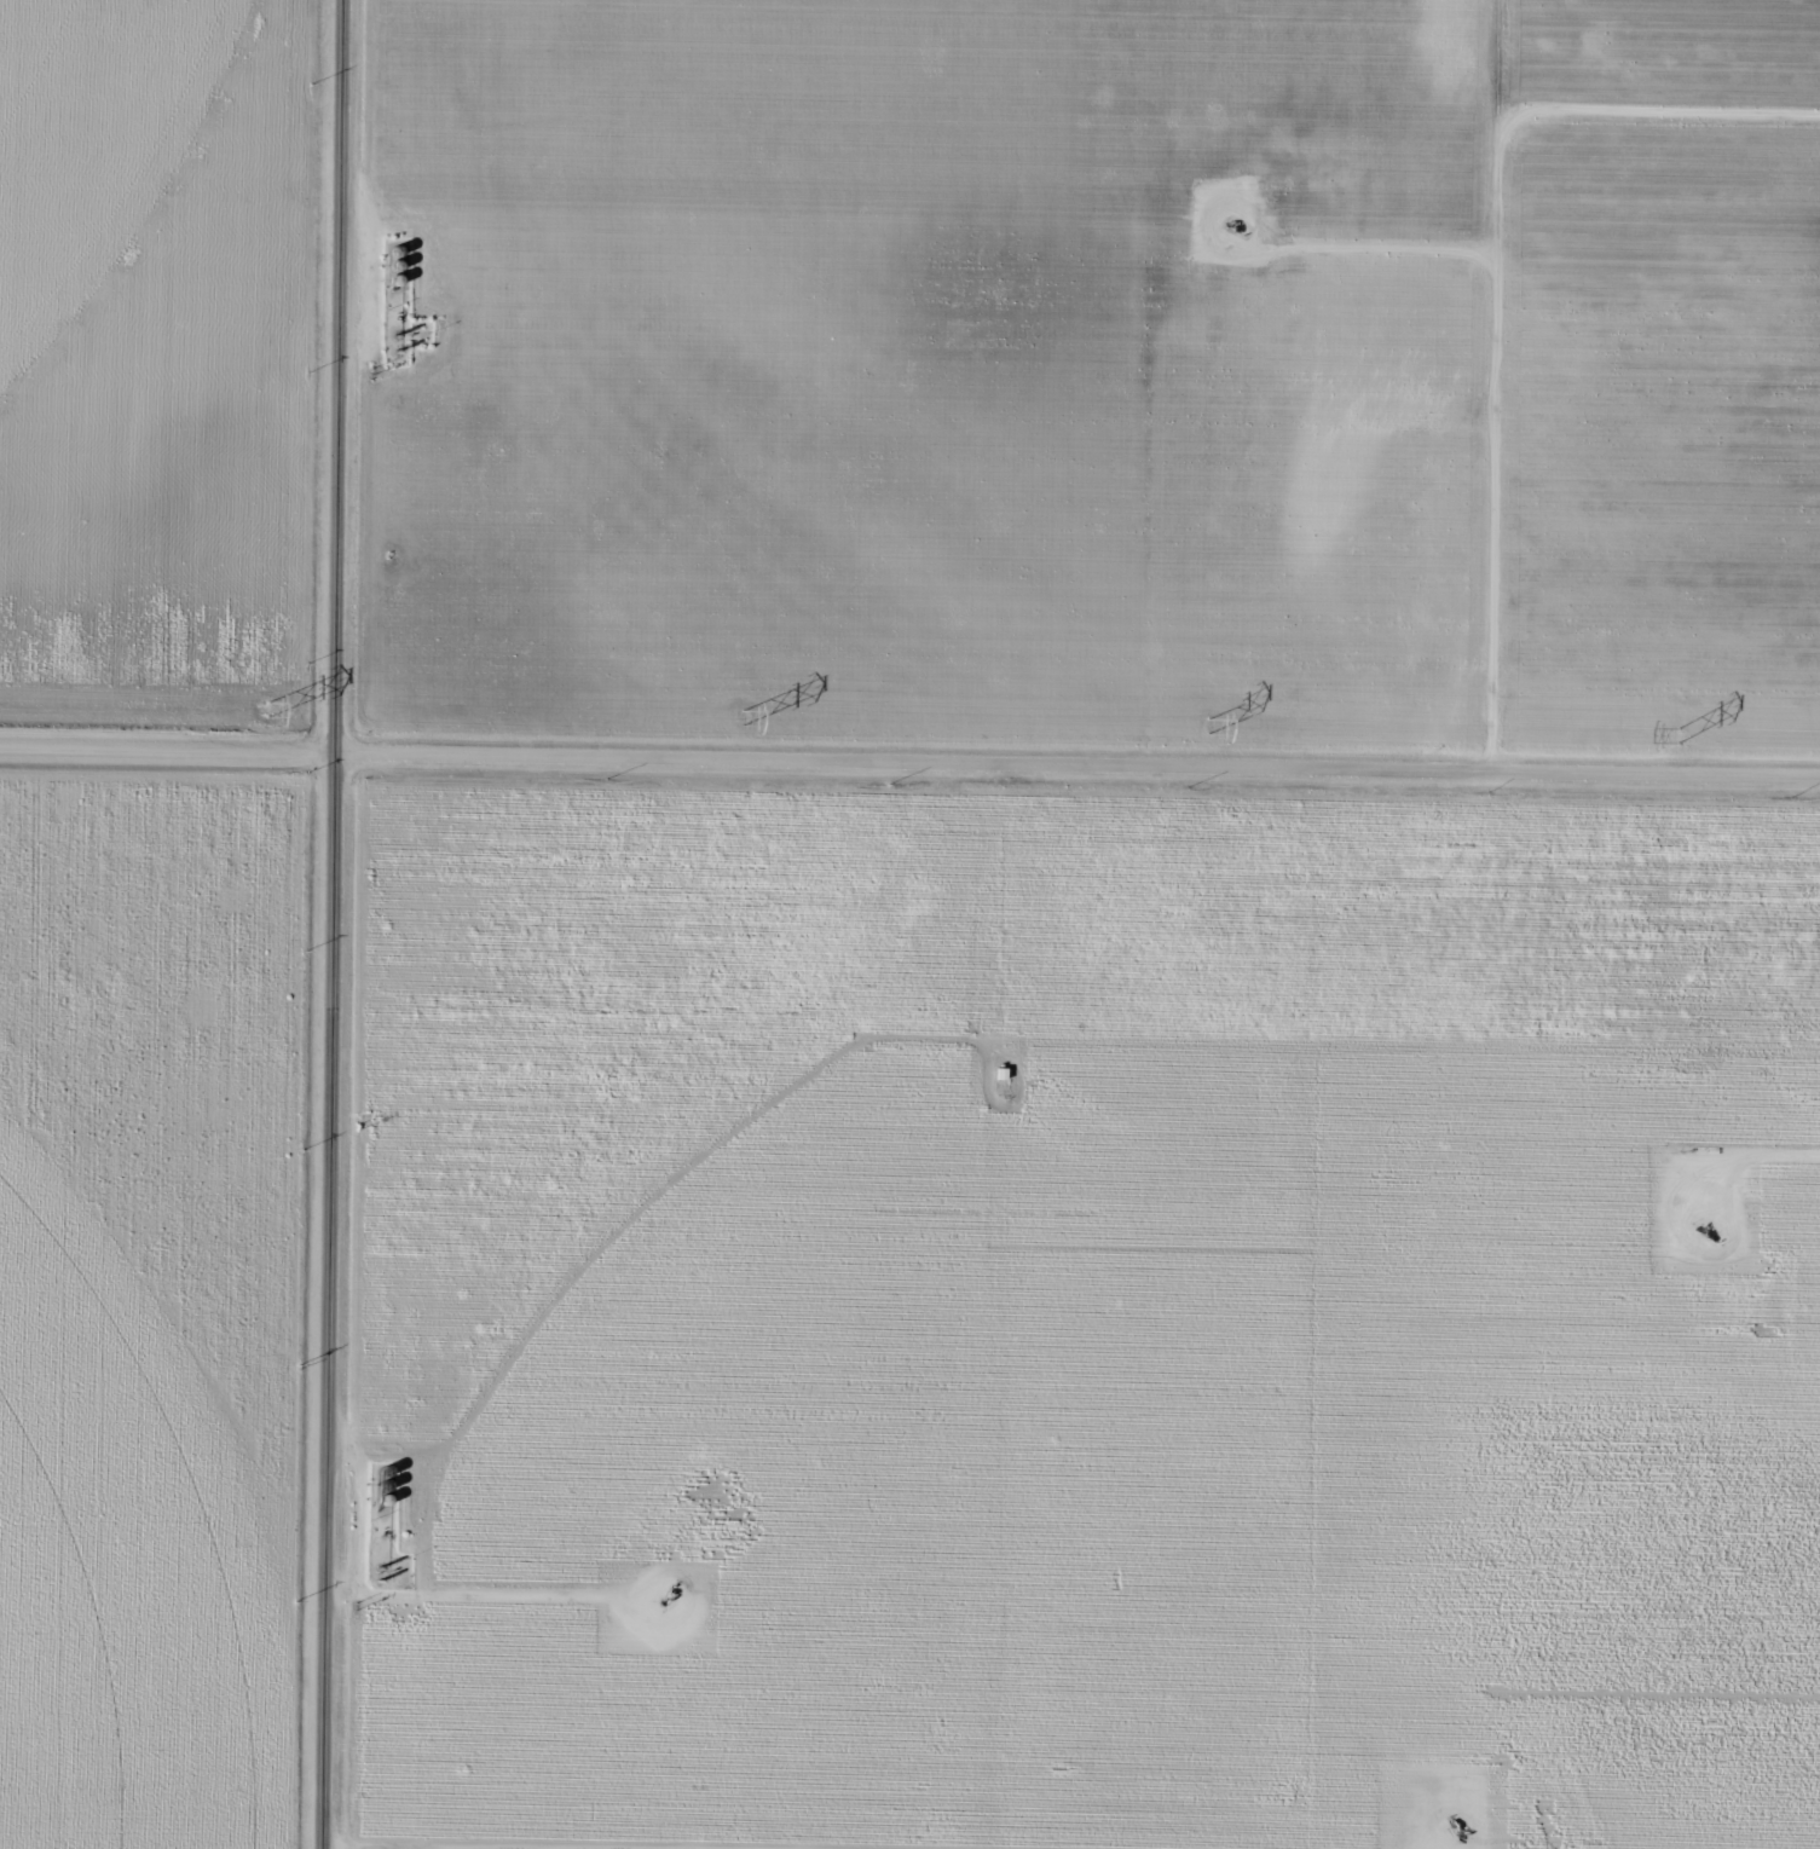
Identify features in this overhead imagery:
power tower: (268, 706)
power tower: (743, 715)
power tower: (1206, 723)
power tower: (1677, 732)
road: (909, 784)
road: (333, 924)
road: (990, 1356)

